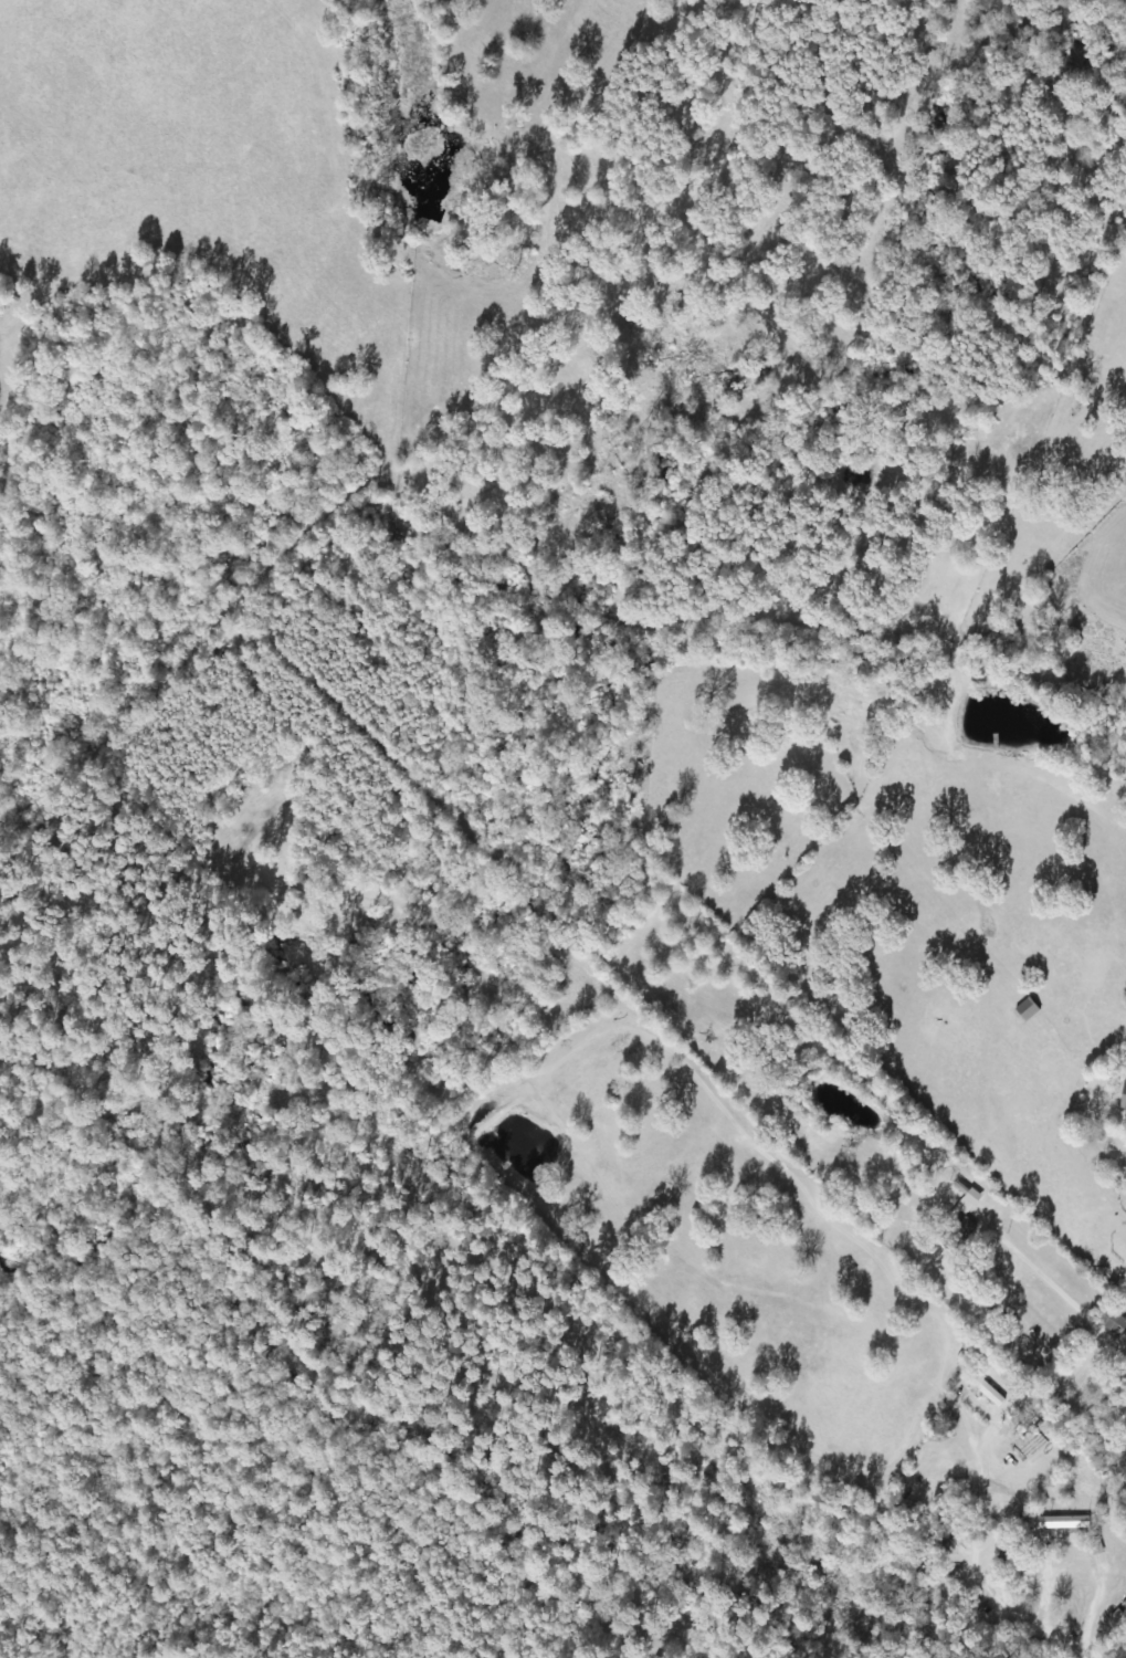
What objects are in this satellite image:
building: (1027, 1011)
building: (1124, 1092)
building: (959, 1225)
building: (1112, 1324)
building: (1065, 1524)
building: (1096, 1549)

